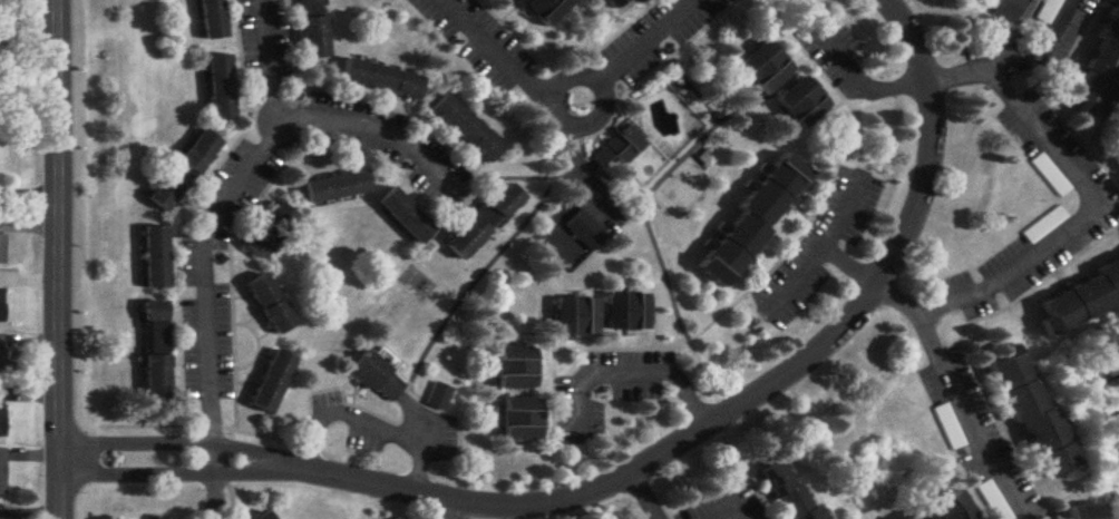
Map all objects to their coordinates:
building: (609, 2)
building: (1002, 8)
building: (546, 9)
building: (1048, 11)
building: (212, 20)
road: (22, 23)
building: (313, 29)
road: (1048, 49)
road: (283, 62)
building: (765, 68)
building: (1100, 69)
building: (382, 80)
road: (859, 82)
building: (221, 88)
building: (801, 105)
road: (574, 109)
building: (466, 130)
building: (620, 148)
building: (200, 154)
building: (338, 188)
road: (230, 189)
road: (25, 190)
building: (165, 195)
road: (1087, 195)
building: (406, 218)
building: (484, 223)
building: (753, 223)
building: (271, 234)
road: (825, 245)
building: (1, 251)
road: (49, 259)
building: (156, 259)
road: (797, 273)
building: (1081, 301)
building: (269, 306)
building: (1, 307)
building: (626, 313)
building: (575, 317)
building: (156, 352)
building: (1, 359)
building: (515, 369)
building: (377, 379)
road: (656, 379)
building: (271, 383)
road: (963, 395)
building: (438, 398)
building: (1, 415)
building: (1032, 417)
road: (370, 421)
building: (520, 421)
building: (950, 428)
road: (649, 466)
building: (1, 473)
road: (216, 489)
building: (787, 493)
road: (644, 498)
building: (947, 510)
road: (457, 511)
building: (1084, 512)
building: (263, 517)
building: (154, 518)

